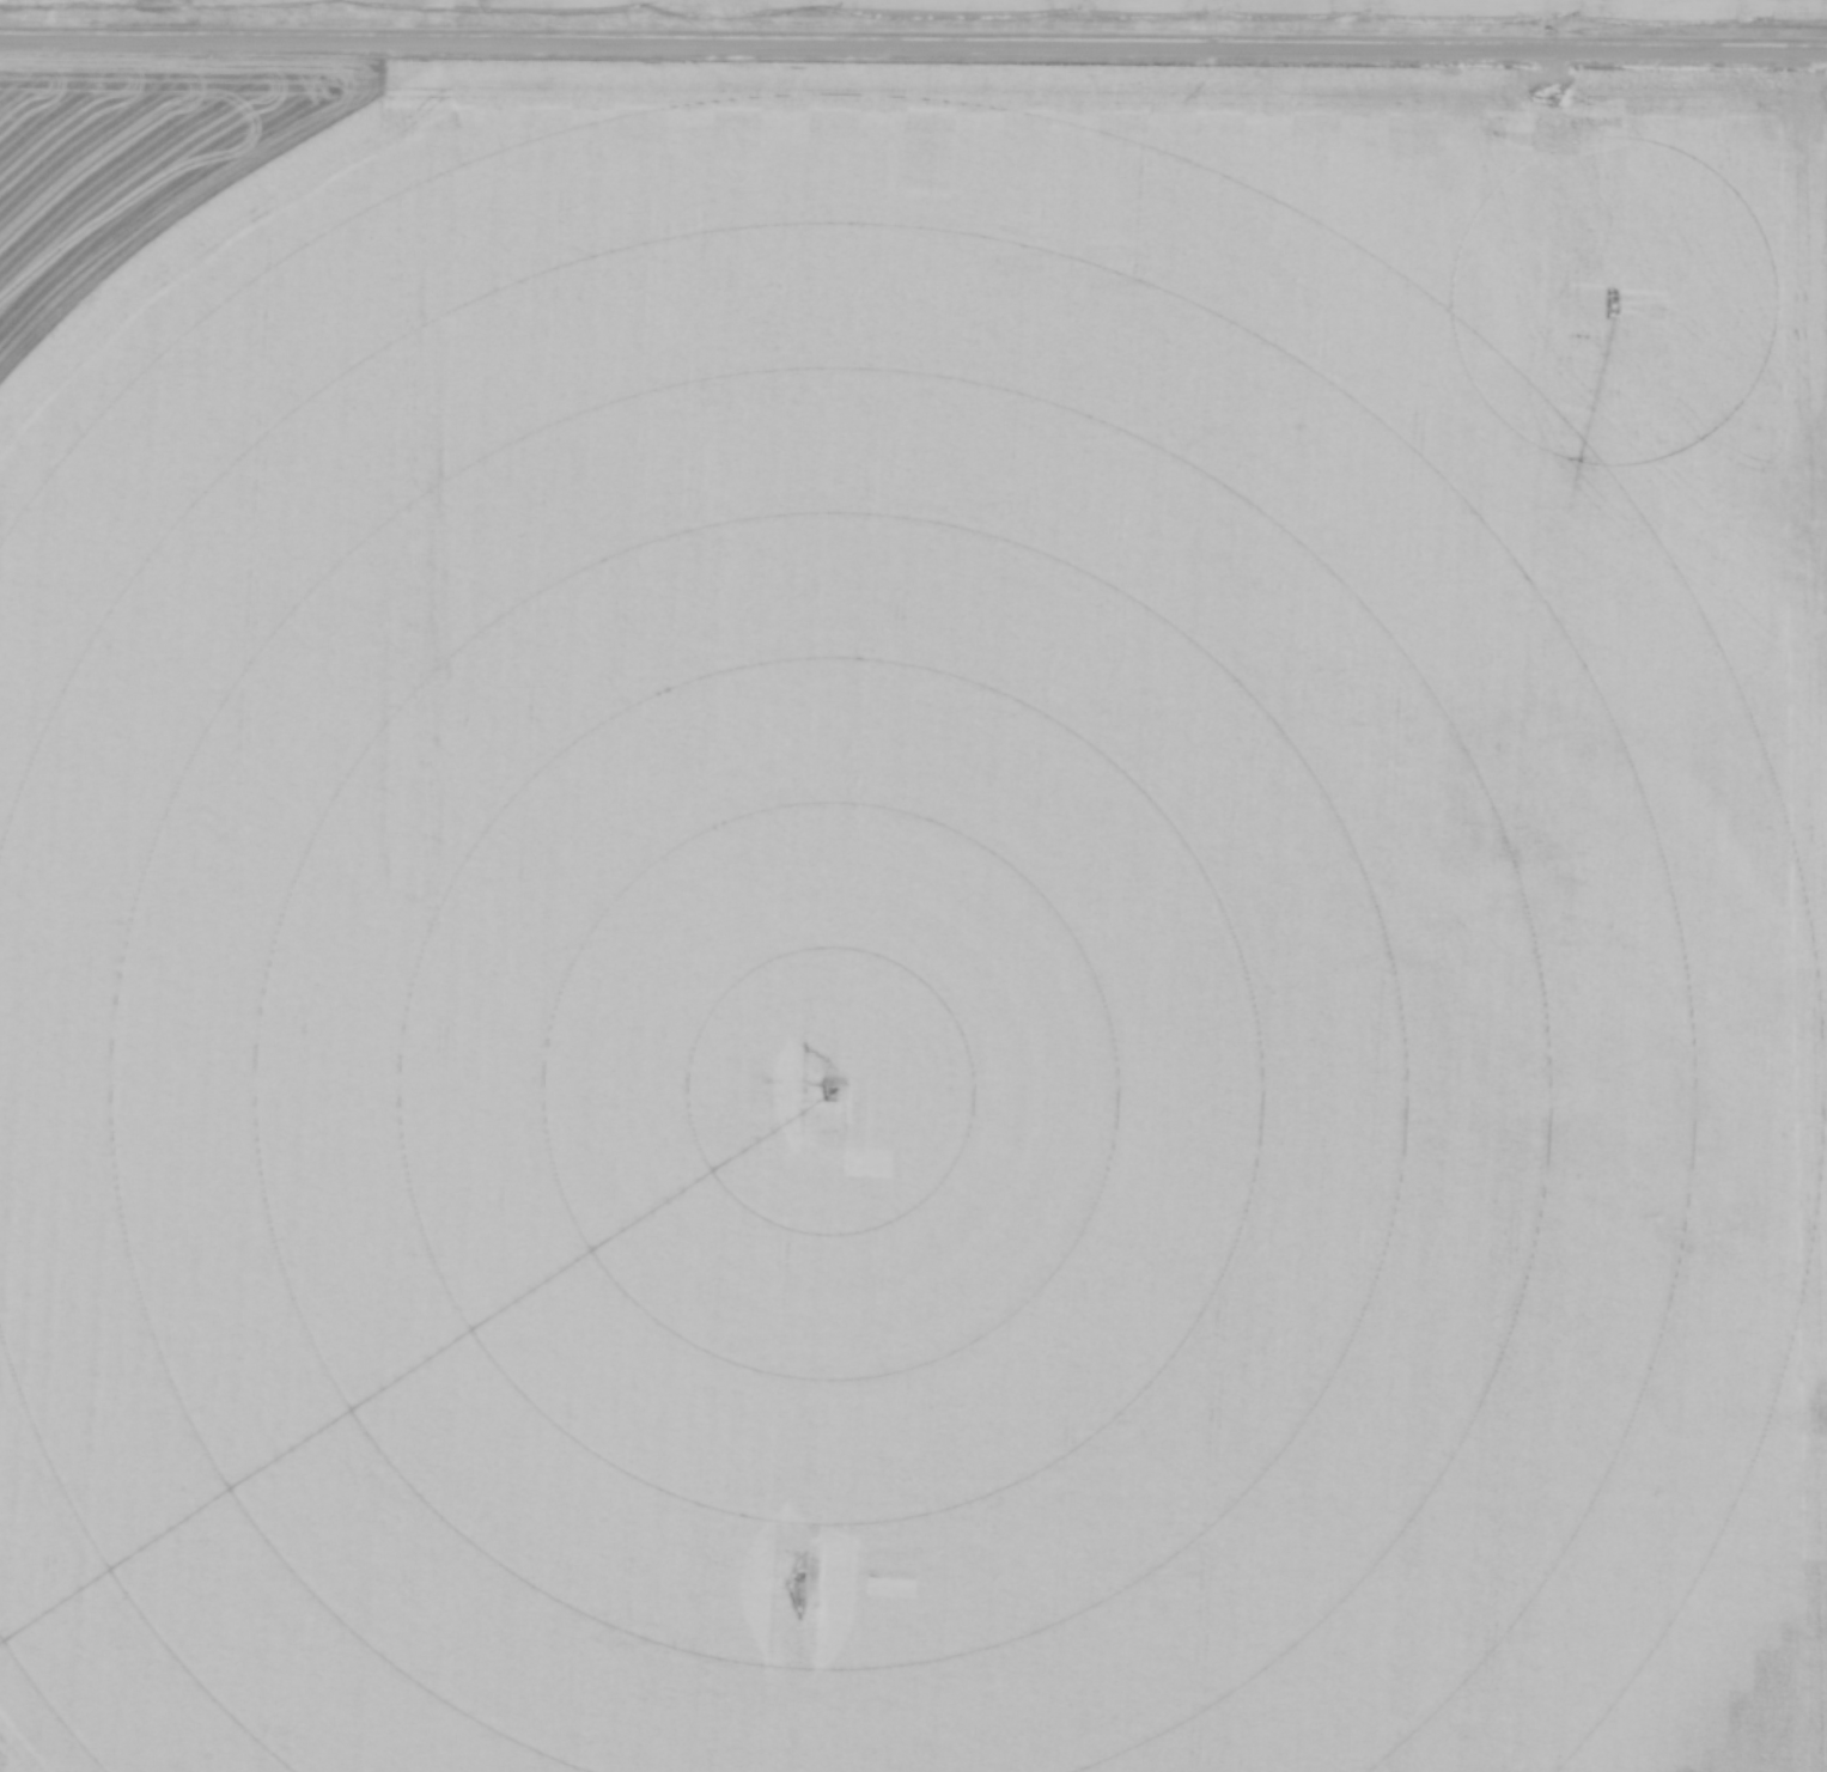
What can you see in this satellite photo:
crop: (1545, 4)
road: (913, 49)
crop: (141, 154)
crop: (920, 937)

